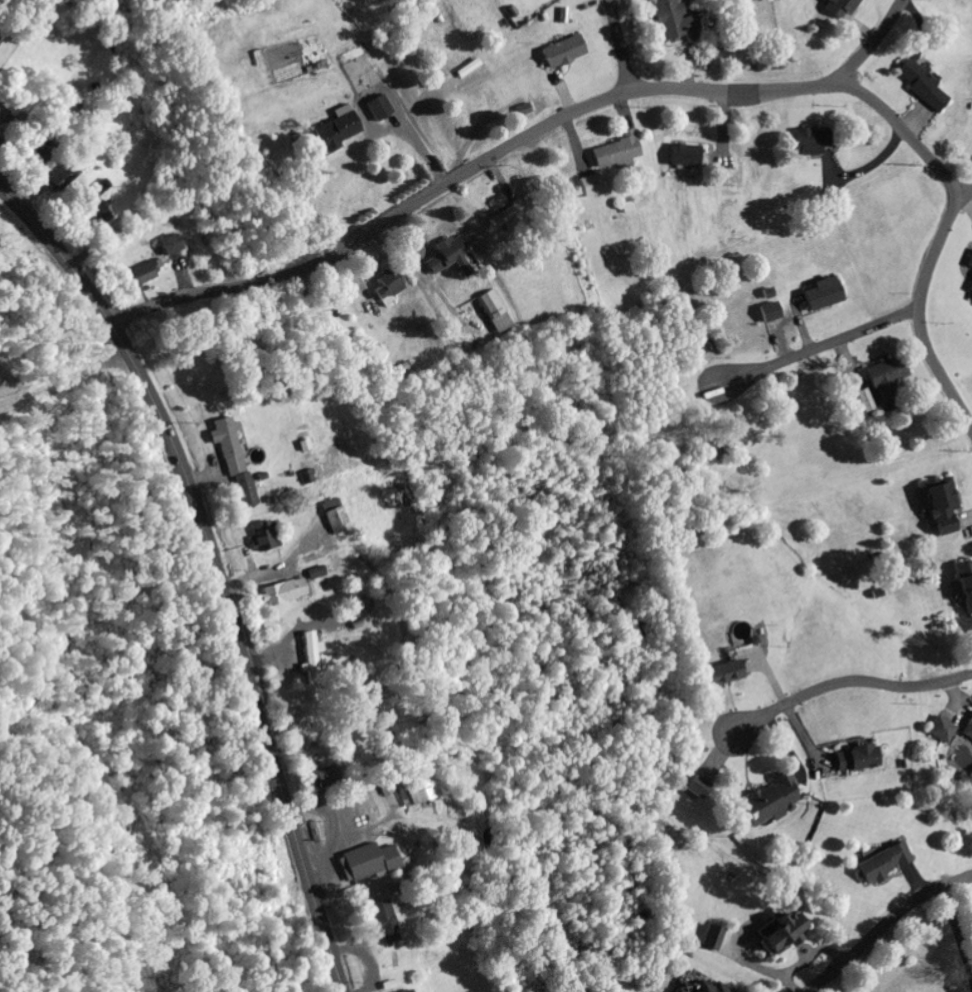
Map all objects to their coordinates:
building: (672, 22)
road: (874, 40)
building: (0, 42)
road: (620, 46)
building: (561, 54)
building: (921, 88)
building: (497, 96)
building: (377, 109)
building: (2, 115)
building: (334, 133)
building: (808, 143)
building: (613, 153)
building: (679, 157)
road: (468, 172)
building: (72, 177)
road: (963, 192)
road: (941, 236)
building: (168, 247)
building: (441, 256)
building: (968, 262)
building: (140, 277)
building: (385, 288)
road: (86, 289)
building: (968, 291)
building: (819, 297)
building: (494, 313)
building: (768, 314)
road: (827, 345)
building: (883, 379)
building: (857, 404)
building: (223, 439)
building: (244, 492)
building: (938, 508)
building: (332, 519)
building: (263, 538)
building: (315, 575)
building: (963, 587)
building: (281, 594)
building: (310, 654)
building: (720, 675)
road: (848, 683)
road: (253, 694)
building: (967, 730)
building: (940, 731)
building: (852, 761)
building: (701, 782)
building: (412, 784)
building: (767, 804)
building: (348, 815)
building: (364, 863)
building: (881, 865)
building: (379, 922)
road: (884, 925)
building: (777, 933)
building: (696, 985)
building: (406, 991)

